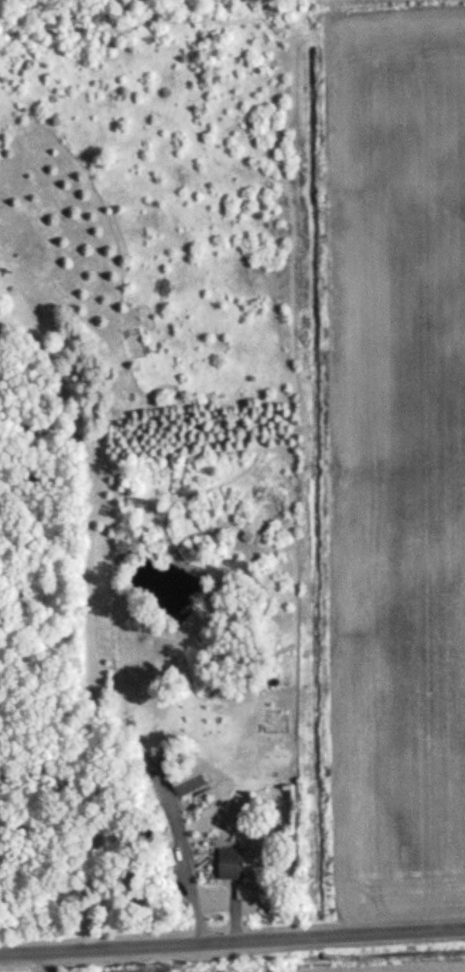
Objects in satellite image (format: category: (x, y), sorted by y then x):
road: (86, 651)
building: (135, 702)
building: (183, 780)
building: (225, 864)
road: (181, 865)
road: (232, 942)

